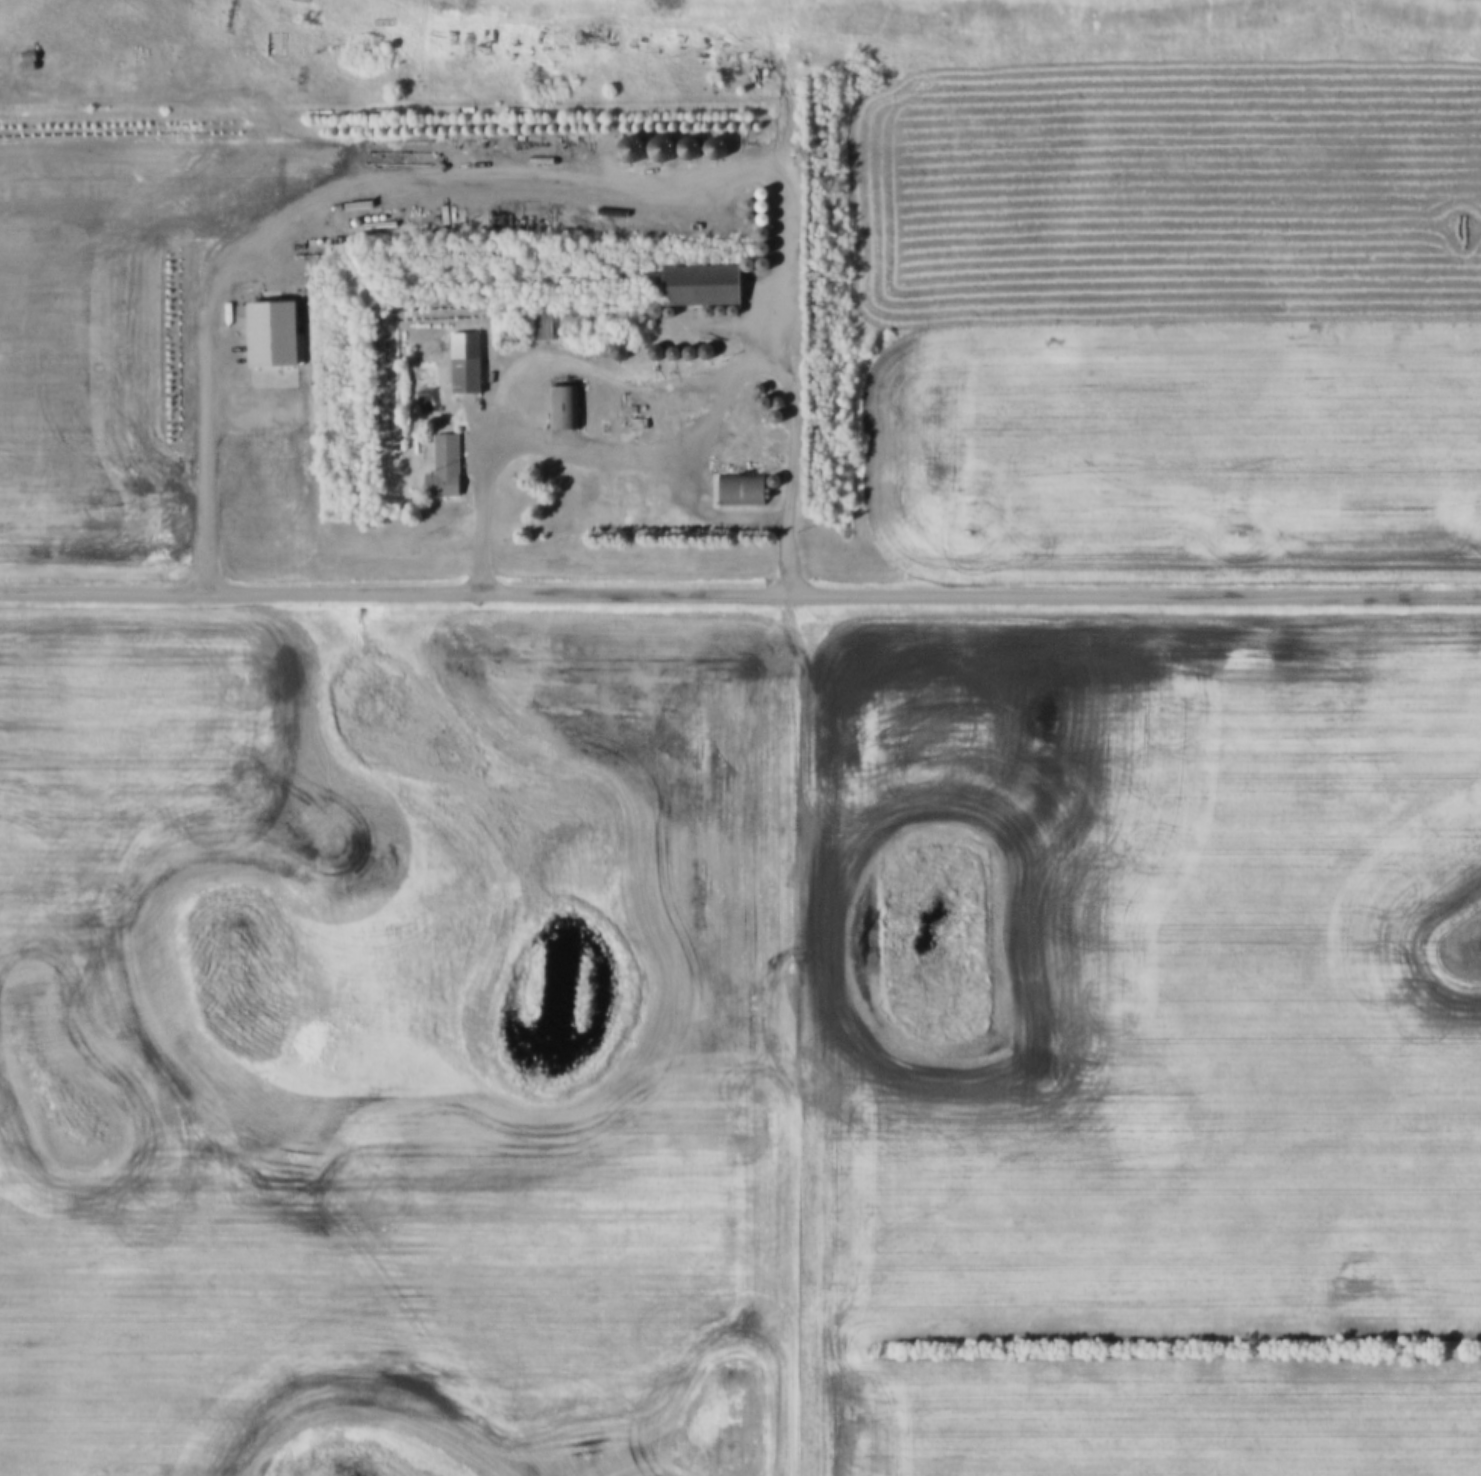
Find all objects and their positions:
road: (654, 7)
road: (786, 272)
building: (709, 285)
building: (546, 331)
building: (469, 363)
road: (690, 429)
building: (447, 467)
building: (743, 489)
road: (740, 590)

